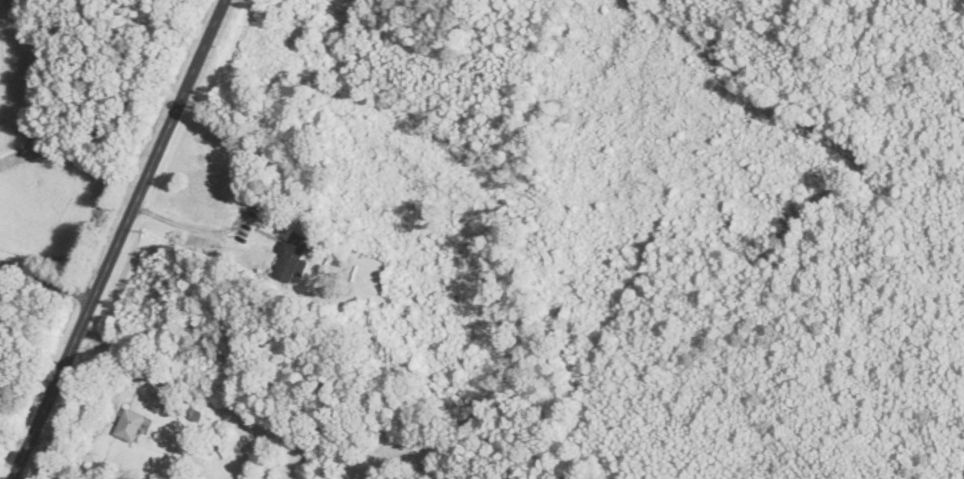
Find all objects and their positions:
building: (220, 179)
road: (201, 230)
road: (120, 240)
building: (292, 258)
road: (47, 283)
building: (128, 425)

